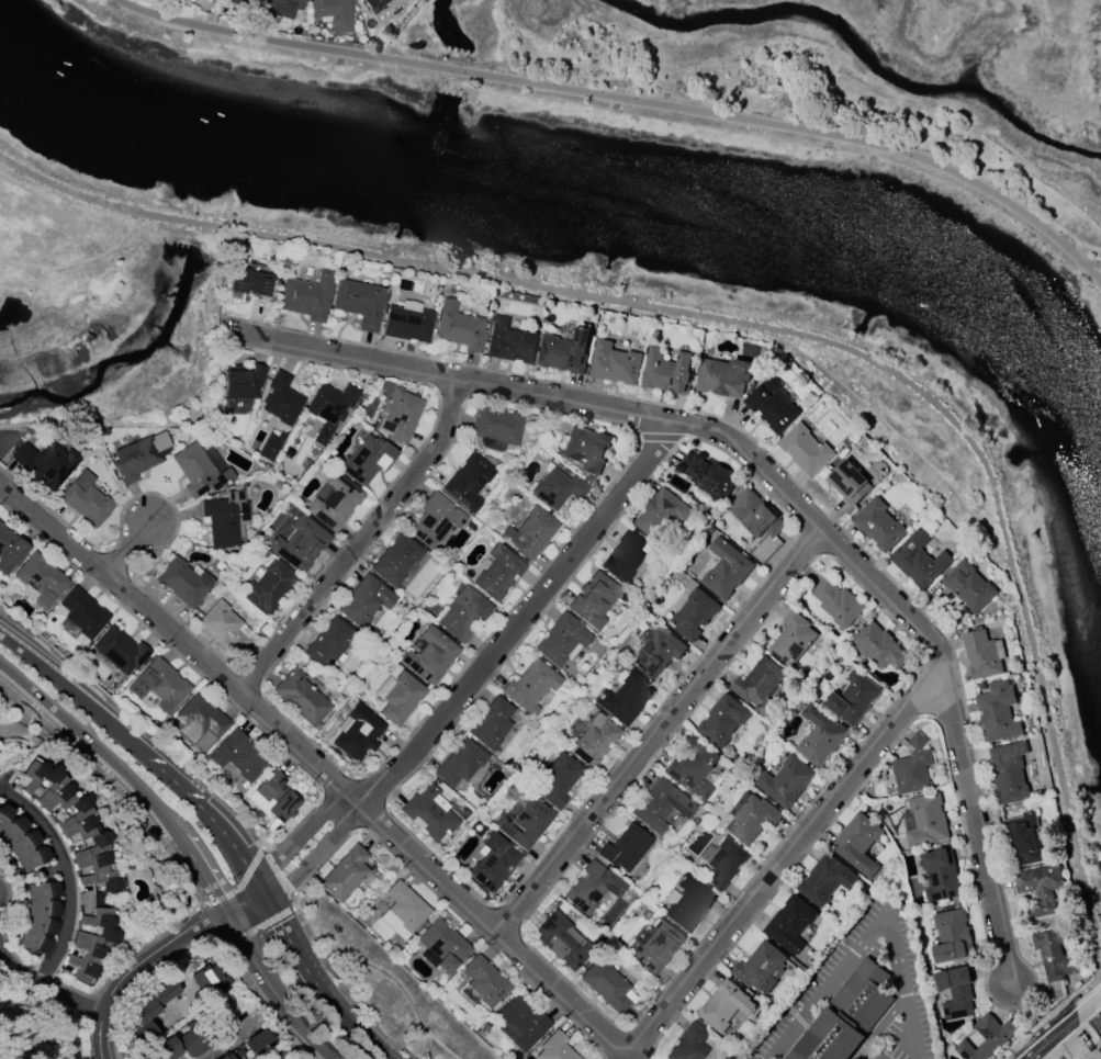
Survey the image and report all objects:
building: (209, 0)
building: (210, 0)
building: (244, 2)
building: (374, 5)
building: (279, 8)
building: (332, 13)
park: (831, 71)
road: (622, 101)
river: (596, 209)
road: (79, 262)
road: (1096, 269)
building: (249, 279)
road: (206, 295)
building: (306, 297)
building: (359, 303)
building: (407, 322)
building: (459, 327)
road: (759, 328)
building: (509, 342)
building: (565, 352)
building: (615, 364)
building: (669, 372)
building: (724, 378)
building: (243, 382)
building: (281, 401)
building: (772, 406)
building: (329, 408)
building: (398, 415)
building: (495, 428)
road: (905, 441)
building: (270, 446)
building: (586, 449)
building: (805, 450)
building: (138, 455)
building: (367, 460)
building: (45, 463)
building: (199, 471)
building: (708, 475)
building: (849, 482)
building: (468, 485)
road: (774, 486)
building: (557, 488)
building: (86, 499)
building: (335, 503)
building: (661, 515)
building: (755, 515)
building: (435, 520)
building: (221, 522)
building: (878, 527)
building: (530, 532)
road: (360, 541)
building: (300, 542)
building: (9, 550)
road: (126, 551)
building: (396, 560)
building: (625, 561)
building: (920, 561)
building: (726, 570)
building: (497, 572)
building: (41, 579)
building: (182, 583)
building: (967, 586)
building: (268, 587)
building: (363, 601)
building: (593, 601)
building: (836, 602)
building: (462, 612)
building: (82, 613)
building: (694, 615)
road: (521, 620)
building: (224, 627)
building: (560, 640)
building: (794, 640)
building: (328, 641)
building: (878, 647)
building: (119, 651)
building: (658, 654)
building: (982, 654)
building: (430, 655)
building: (530, 685)
building: (760, 686)
building: (158, 687)
building: (300, 697)
building: (401, 698)
building: (623, 698)
building: (853, 698)
building: (998, 711)
building: (202, 721)
building: (722, 721)
building: (491, 723)
building: (357, 732)
road: (659, 733)
building: (820, 735)
building: (593, 740)
road: (146, 754)
building: (237, 755)
building: (459, 763)
building: (693, 769)
building: (1010, 771)
building: (912, 773)
road: (128, 776)
building: (557, 779)
building: (786, 781)
road: (113, 788)
building: (276, 798)
building: (660, 808)
building: (428, 813)
building: (752, 820)
building: (926, 820)
building: (523, 822)
building: (74, 823)
building: (21, 840)
building: (1023, 841)
building: (857, 844)
building: (625, 848)
road: (287, 850)
road: (318, 856)
building: (492, 861)
building: (723, 864)
building: (344, 874)
building: (940, 875)
road: (281, 879)
building: (825, 880)
road: (63, 883)
building: (591, 887)
road: (240, 888)
building: (1040, 888)
road: (283, 903)
building: (688, 903)
road: (249, 909)
building: (404, 910)
building: (40, 915)
road: (209, 923)
building: (790, 924)
road: (259, 928)
road: (874, 935)
building: (952, 936)
road: (499, 939)
building: (562, 940)
building: (92, 944)
building: (441, 946)
building: (655, 946)
building: (1055, 955)
road: (122, 967)
road: (139, 967)
building: (761, 968)
road: (379, 971)
building: (209, 980)
building: (484, 982)
road: (142, 983)
building: (605, 985)
road: (321, 989)
road: (40, 991)
road: (270, 992)
building: (956, 992)
building: (863, 999)
road: (259, 1001)
building: (727, 1006)
road: (1081, 1007)
building: (148, 1012)
road: (1090, 1013)
building: (523, 1021)
road: (880, 1025)
road: (1091, 1030)
road: (243, 1033)
building: (988, 1038)
building: (828, 1041)
road: (1049, 1041)
building: (257, 1043)
building: (688, 1044)
road: (440, 1045)
building: (166, 1049)
road: (1068, 1049)
building: (554, 1050)
building: (224, 1056)

